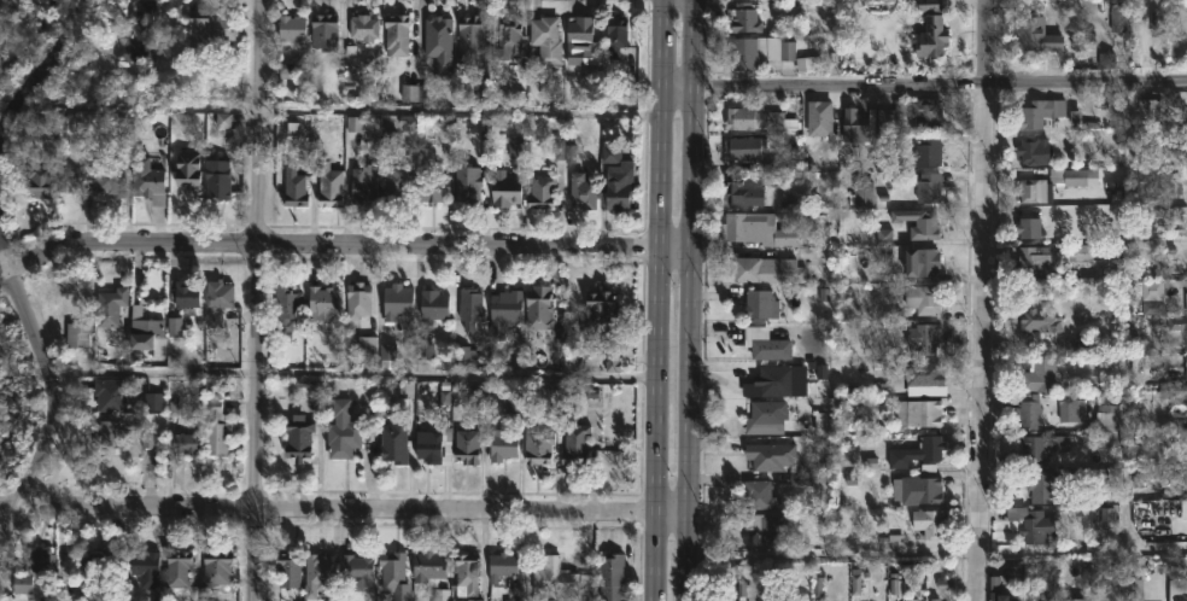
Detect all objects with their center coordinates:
road: (6, 13)
building: (745, 16)
building: (1119, 21)
building: (366, 25)
building: (930, 25)
building: (214, 27)
building: (293, 27)
building: (142, 30)
building: (324, 31)
building: (397, 34)
building: (615, 34)
building: (470, 36)
building: (509, 36)
building: (1036, 36)
building: (548, 39)
building: (583, 40)
building: (439, 42)
building: (760, 51)
road: (39, 70)
road: (924, 83)
building: (1152, 109)
road: (140, 110)
building: (1040, 111)
road: (461, 113)
building: (912, 113)
building: (820, 117)
building: (760, 121)
building: (856, 126)
building: (747, 147)
building: (1036, 150)
building: (930, 151)
building: (787, 158)
building: (112, 173)
building: (75, 176)
building: (1074, 176)
building: (218, 177)
building: (40, 180)
building: (396, 182)
building: (150, 183)
building: (327, 183)
building: (364, 185)
building: (469, 185)
building: (621, 185)
building: (434, 186)
building: (296, 187)
building: (929, 187)
building: (542, 189)
building: (1035, 189)
building: (507, 191)
building: (747, 191)
building: (583, 192)
building: (863, 192)
building: (919, 222)
building: (756, 228)
building: (1031, 231)
road: (341, 244)
building: (1035, 259)
building: (925, 261)
building: (765, 270)
building: (187, 294)
building: (1150, 296)
building: (359, 299)
road: (656, 299)
building: (926, 299)
road: (981, 299)
road: (258, 300)
road: (689, 300)
building: (218, 302)
building: (323, 302)
building: (286, 304)
building: (112, 305)
building: (399, 305)
building: (435, 305)
building: (764, 305)
building: (540, 308)
building: (470, 309)
building: (505, 311)
building: (600, 311)
building: (1040, 317)
road: (1130, 320)
building: (80, 332)
building: (147, 332)
building: (924, 337)
building: (766, 343)
building: (923, 373)
building: (1049, 375)
road: (351, 378)
building: (773, 381)
road: (48, 391)
building: (111, 393)
building: (156, 404)
building: (1072, 407)
building: (924, 412)
building: (1030, 414)
building: (1107, 416)
building: (767, 418)
building: (218, 426)
building: (344, 427)
building: (116, 431)
building: (300, 440)
building: (151, 442)
building: (394, 442)
building: (575, 442)
building: (187, 443)
building: (504, 444)
building: (1042, 444)
building: (539, 445)
building: (434, 447)
building: (468, 447)
building: (919, 453)
building: (766, 456)
building: (1183, 473)
building: (1043, 486)
building: (918, 489)
building: (761, 495)
road: (343, 509)
building: (931, 523)
building: (1033, 524)
building: (766, 526)
road: (936, 559)
building: (503, 565)
building: (145, 567)
building: (218, 567)
building: (429, 567)
building: (98, 568)
building: (290, 570)
building: (181, 571)
building: (359, 572)
building: (1013, 572)
building: (467, 573)
building: (28, 574)
building: (318, 574)
building: (396, 576)
building: (612, 577)
building: (555, 578)
building: (995, 588)
building: (442, 594)
building: (1181, 597)
building: (475, 599)
building: (936, 599)
building: (1078, 599)
building: (1013, 600)

